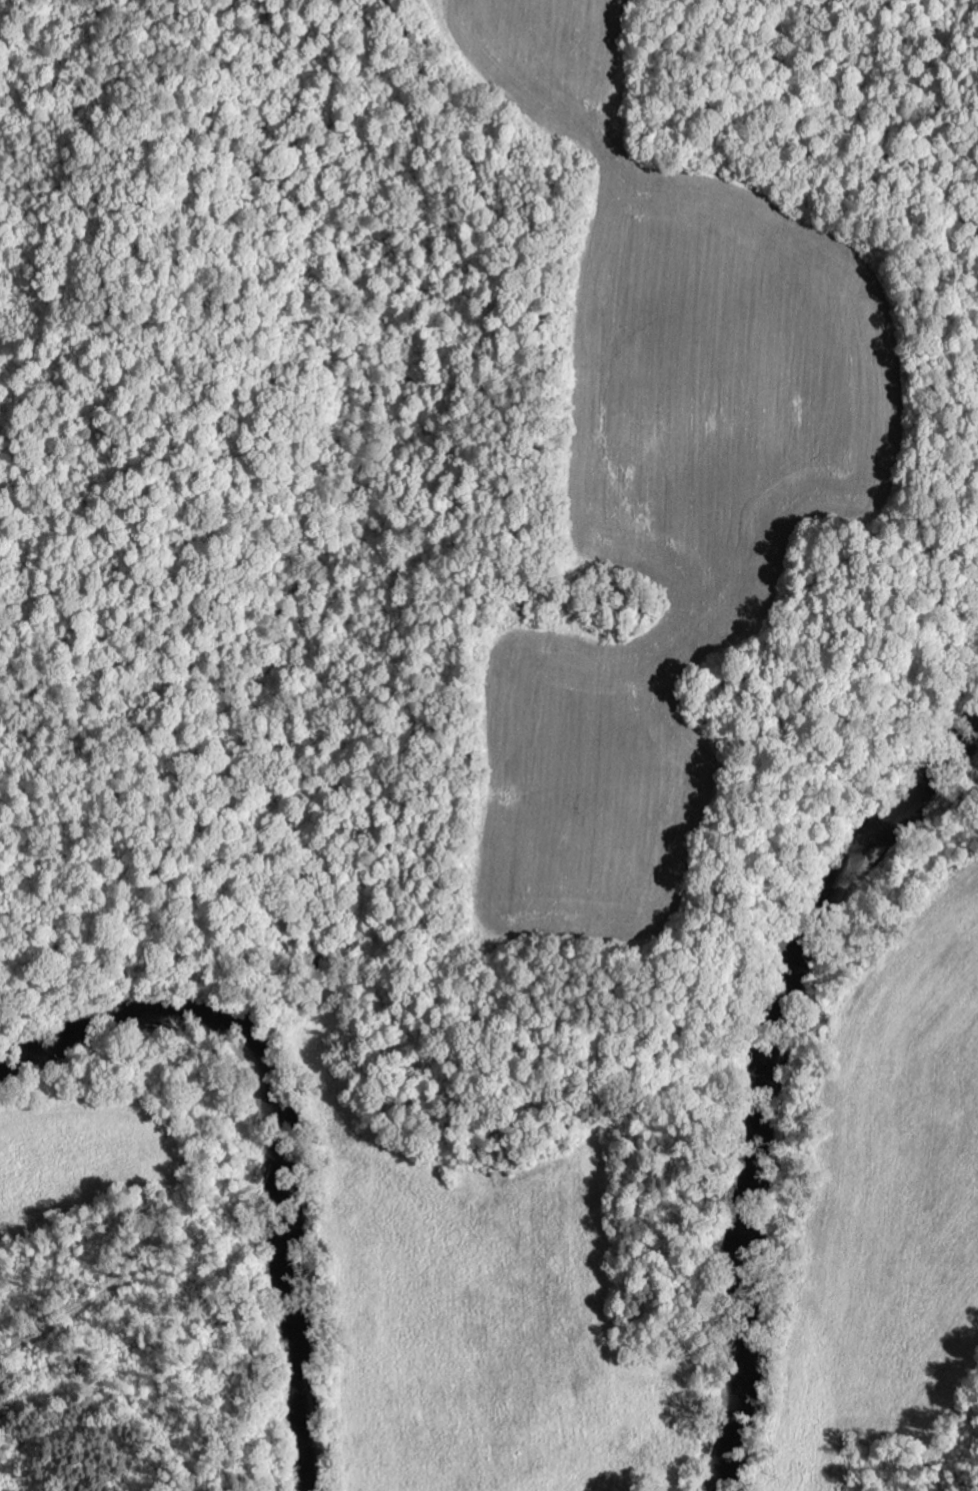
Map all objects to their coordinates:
road: (43, 1253)

